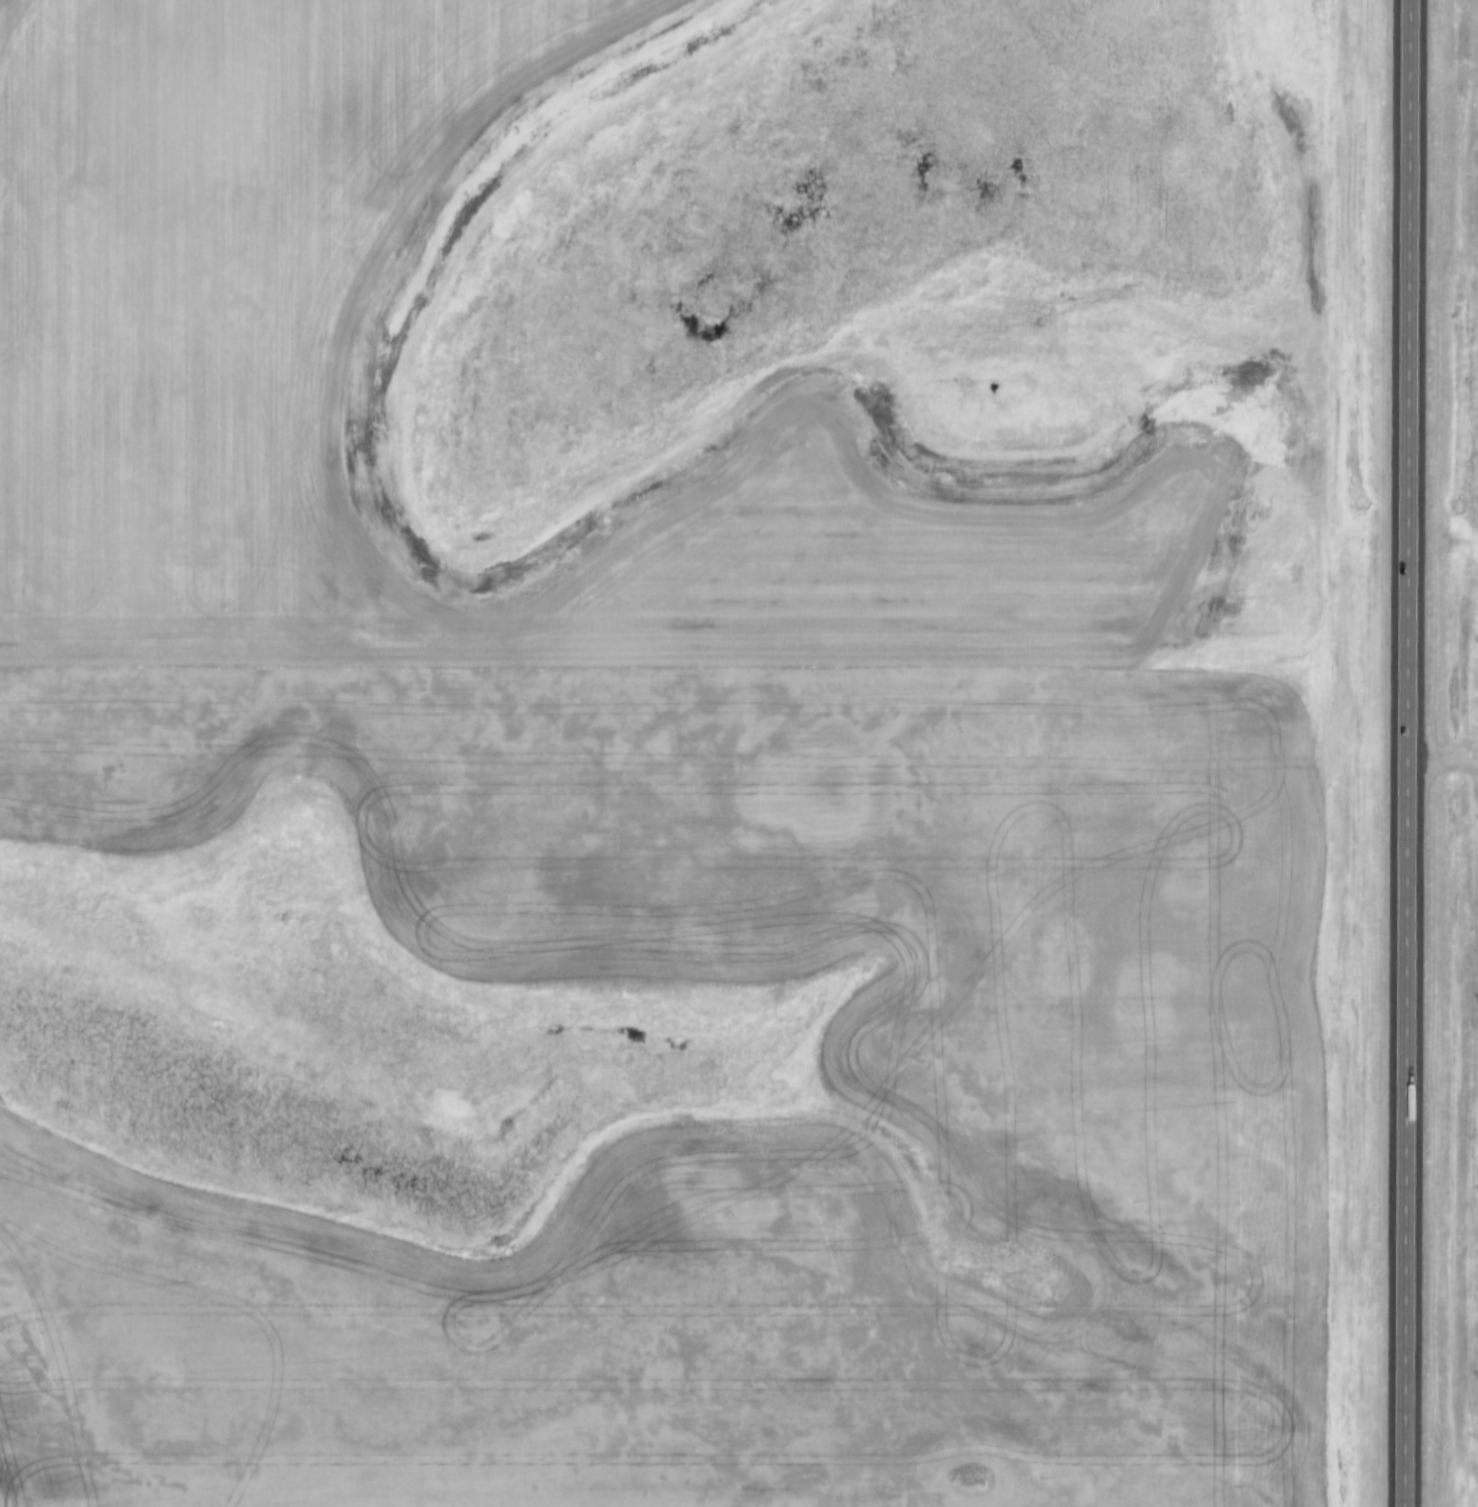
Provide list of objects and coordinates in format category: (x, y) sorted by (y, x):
road: (1443, 748)
road: (1408, 753)

